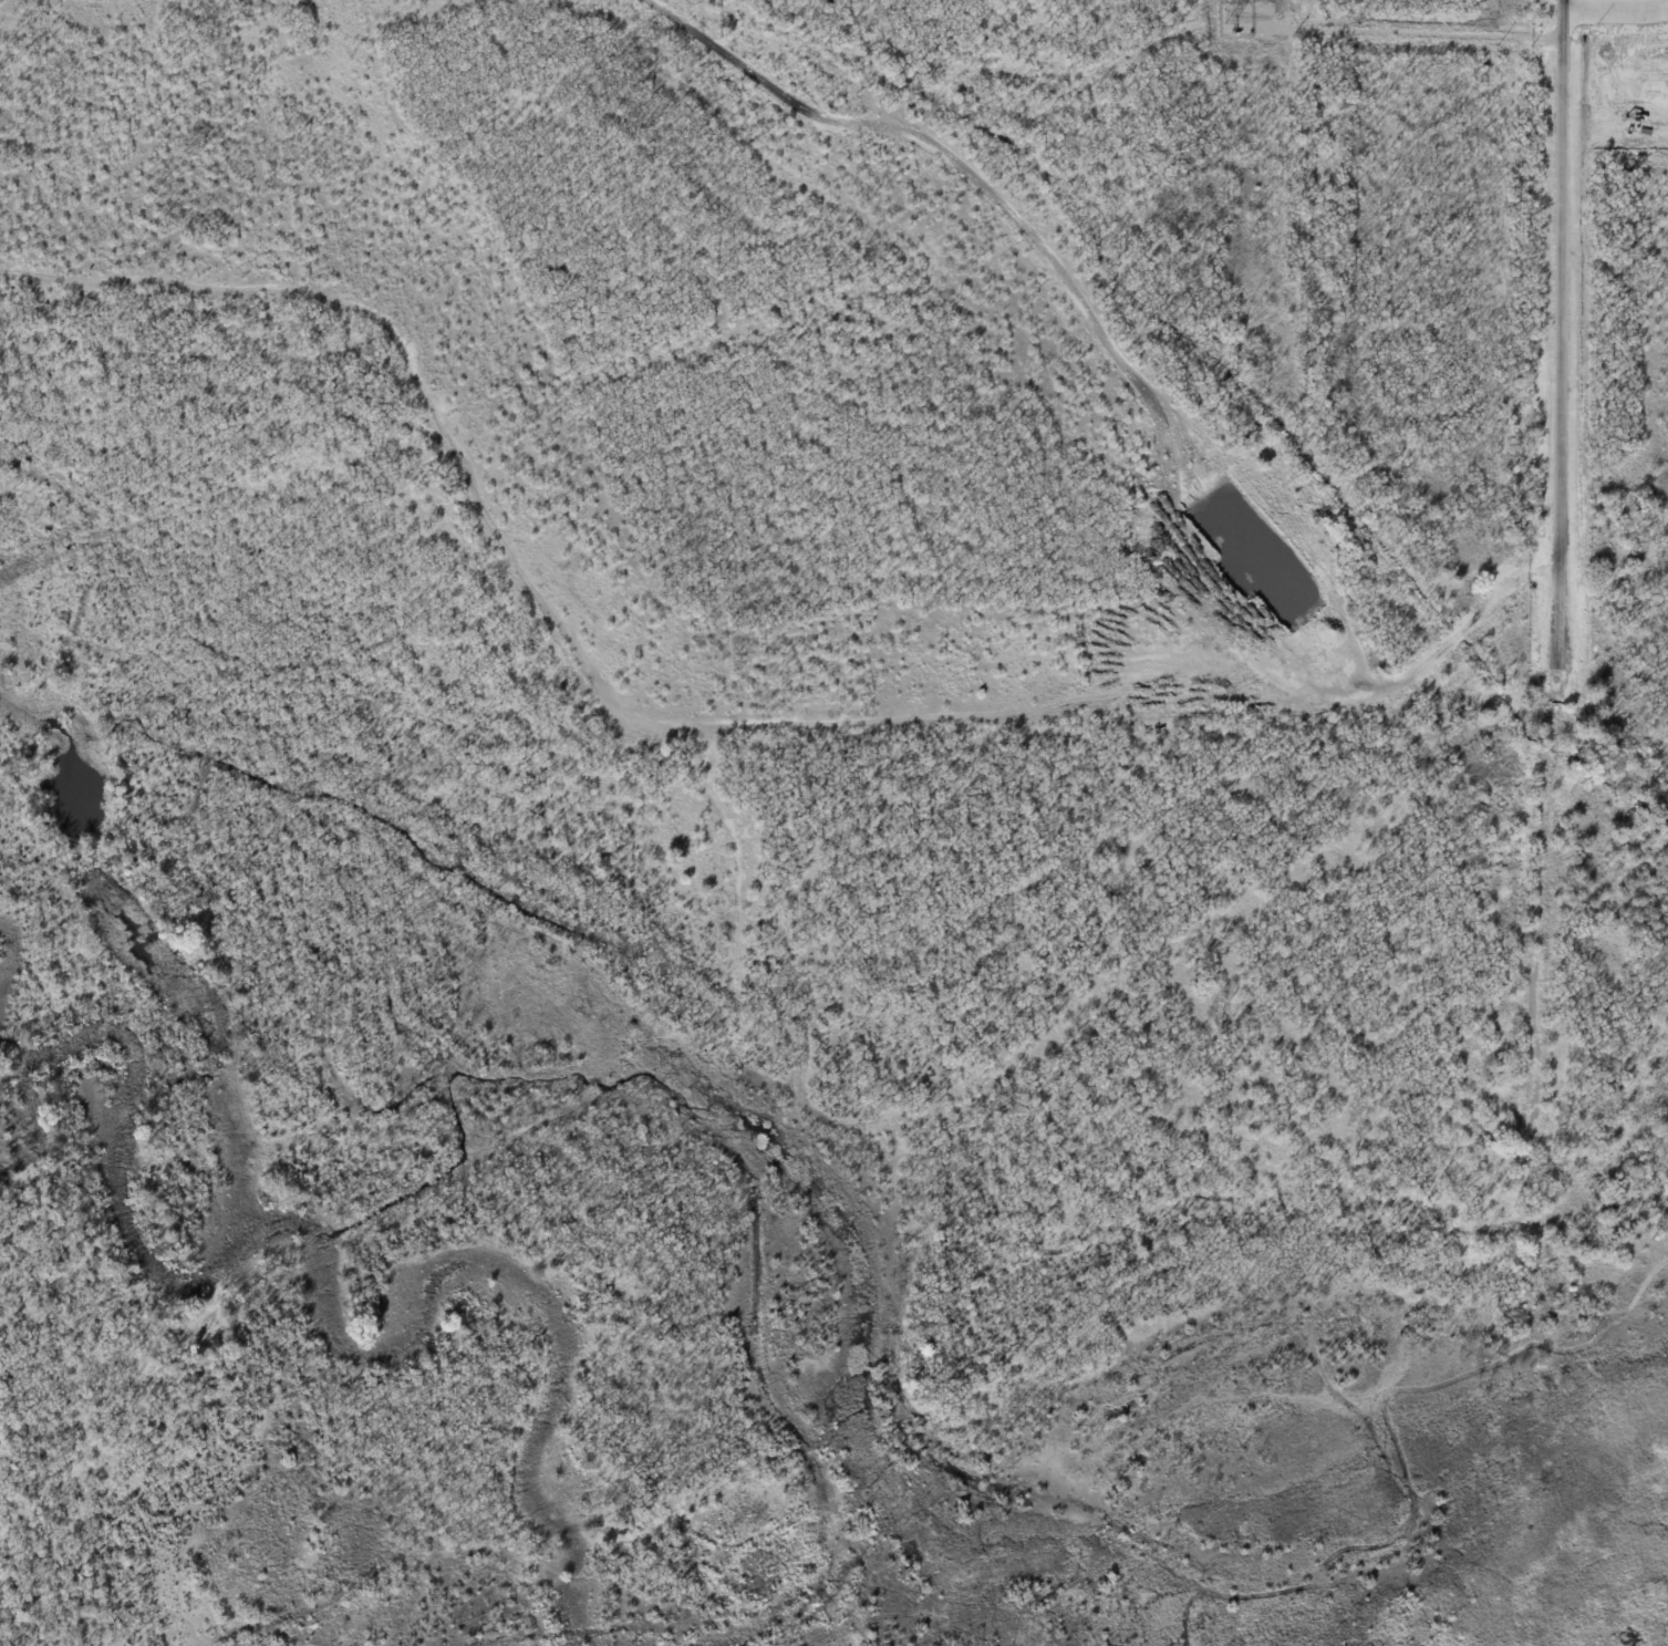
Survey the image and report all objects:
road: (1555, 343)

